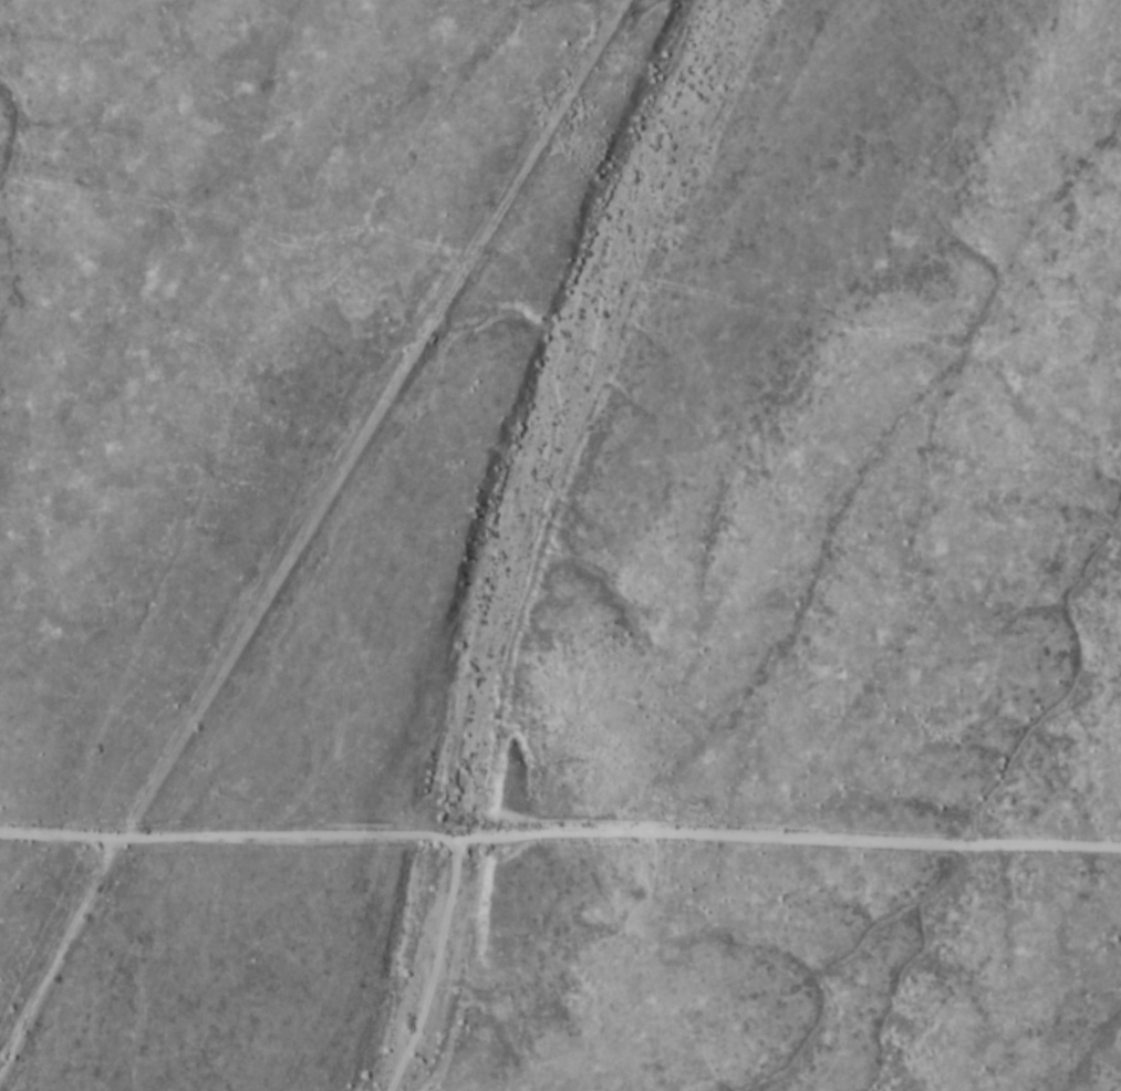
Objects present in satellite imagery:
road: (58, 840)
road: (617, 848)
road: (58, 956)

